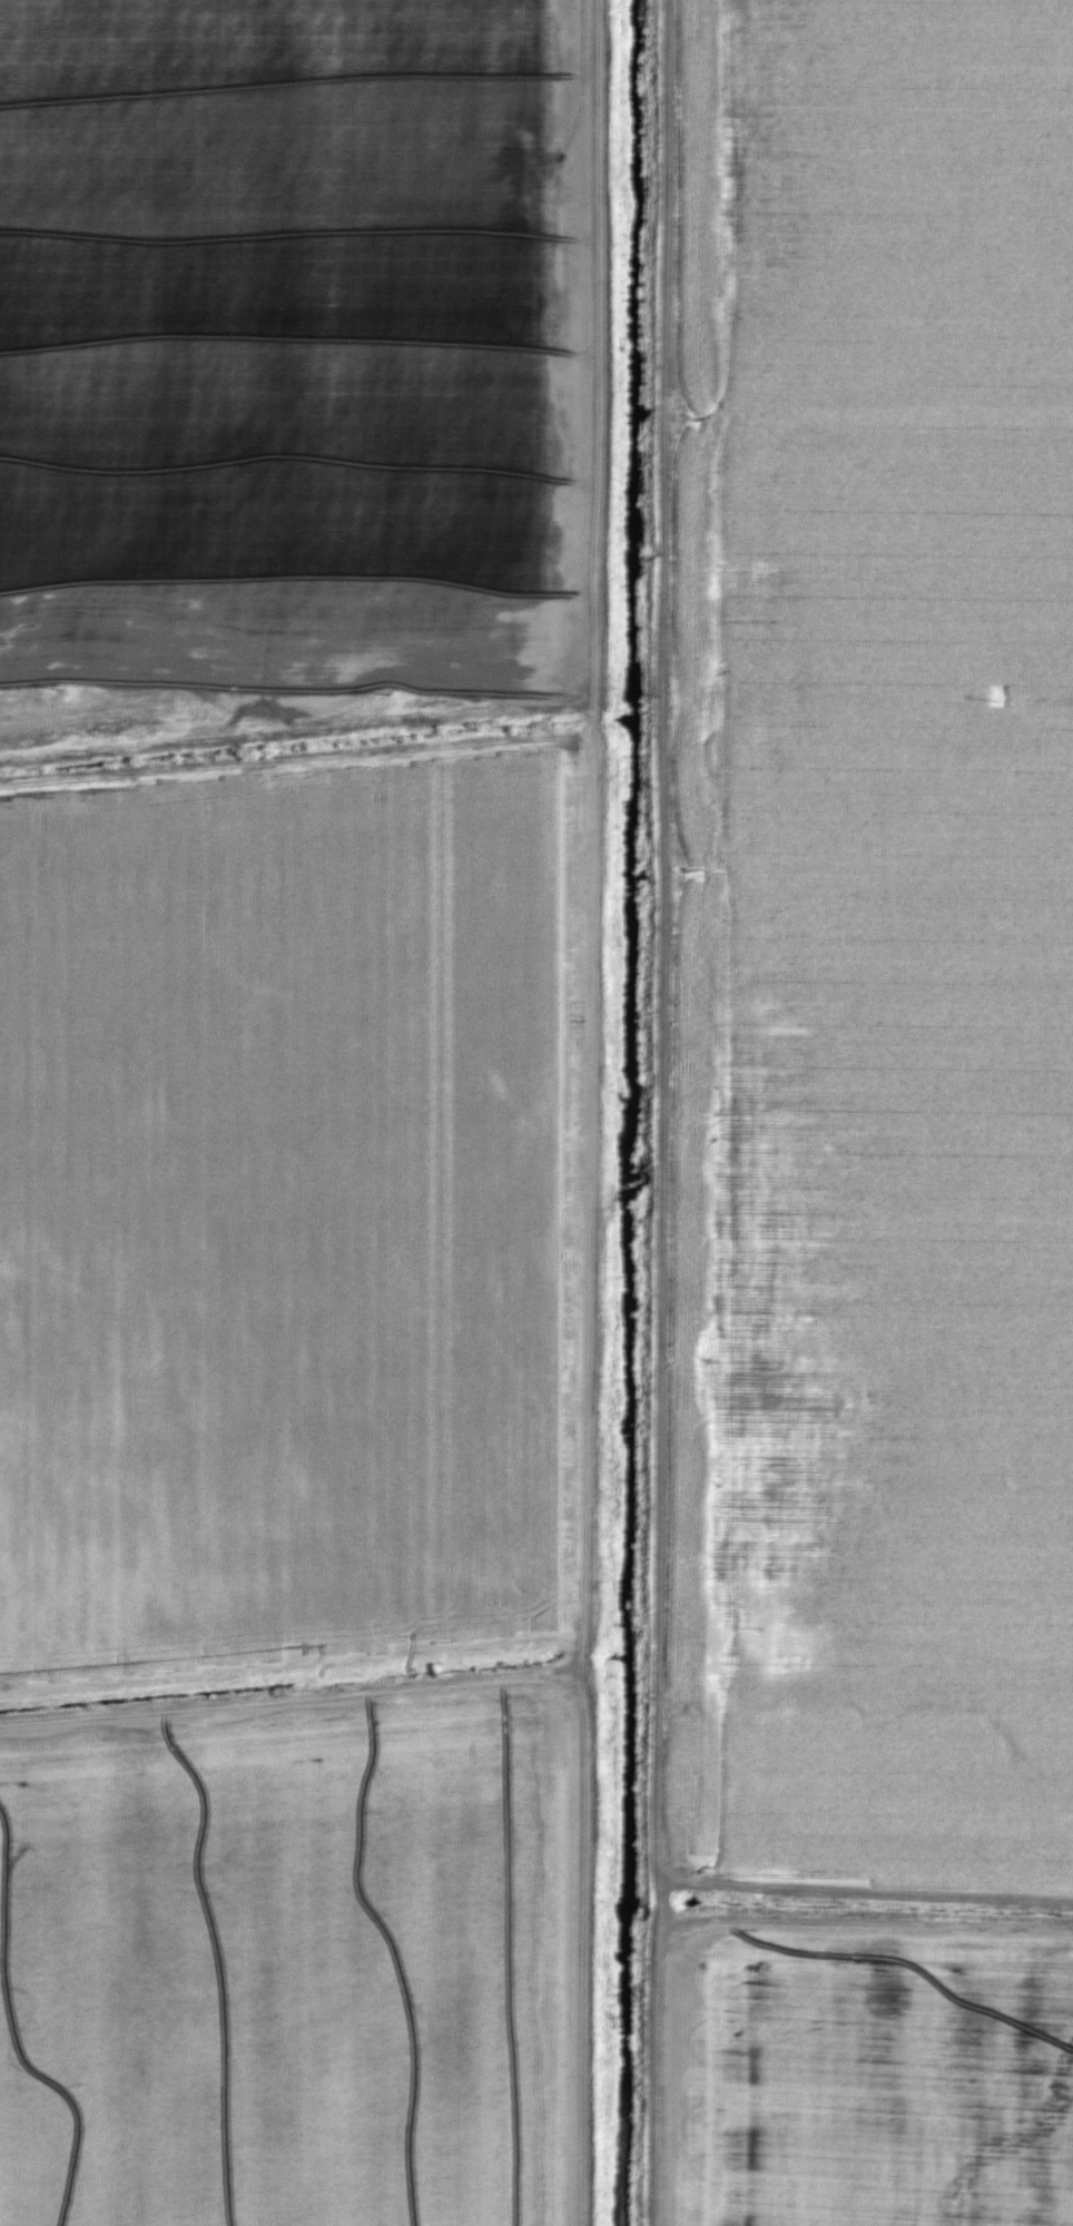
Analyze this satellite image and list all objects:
road: (597, 1127)

